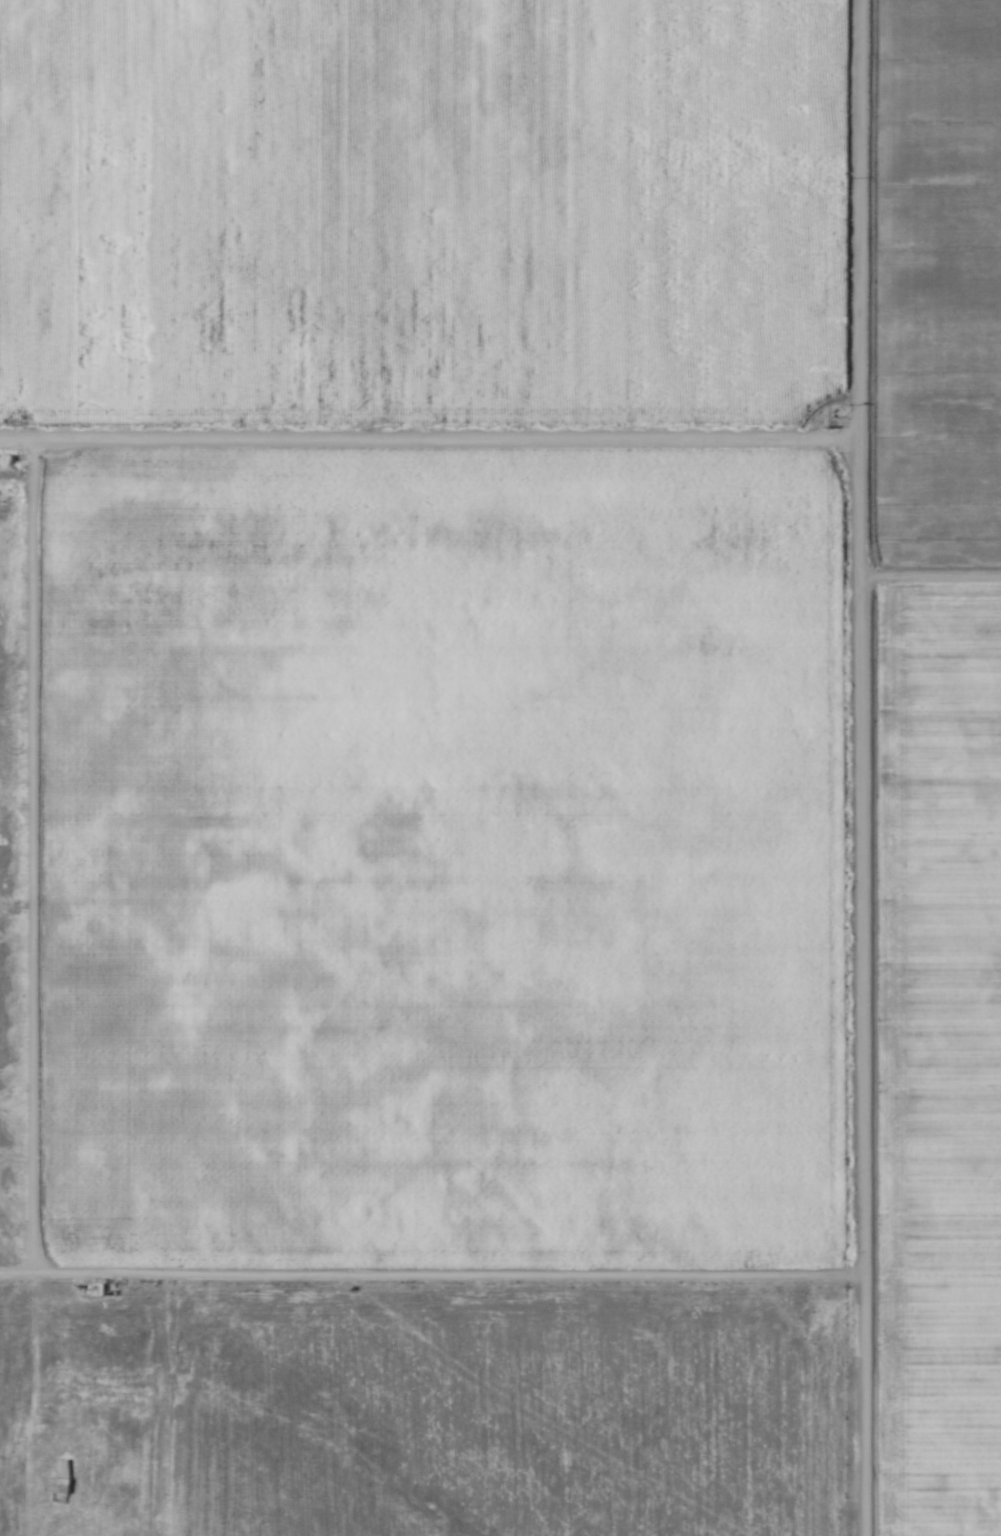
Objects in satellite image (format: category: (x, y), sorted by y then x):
road: (862, 767)
building: (96, 1290)
building: (59, 1480)

